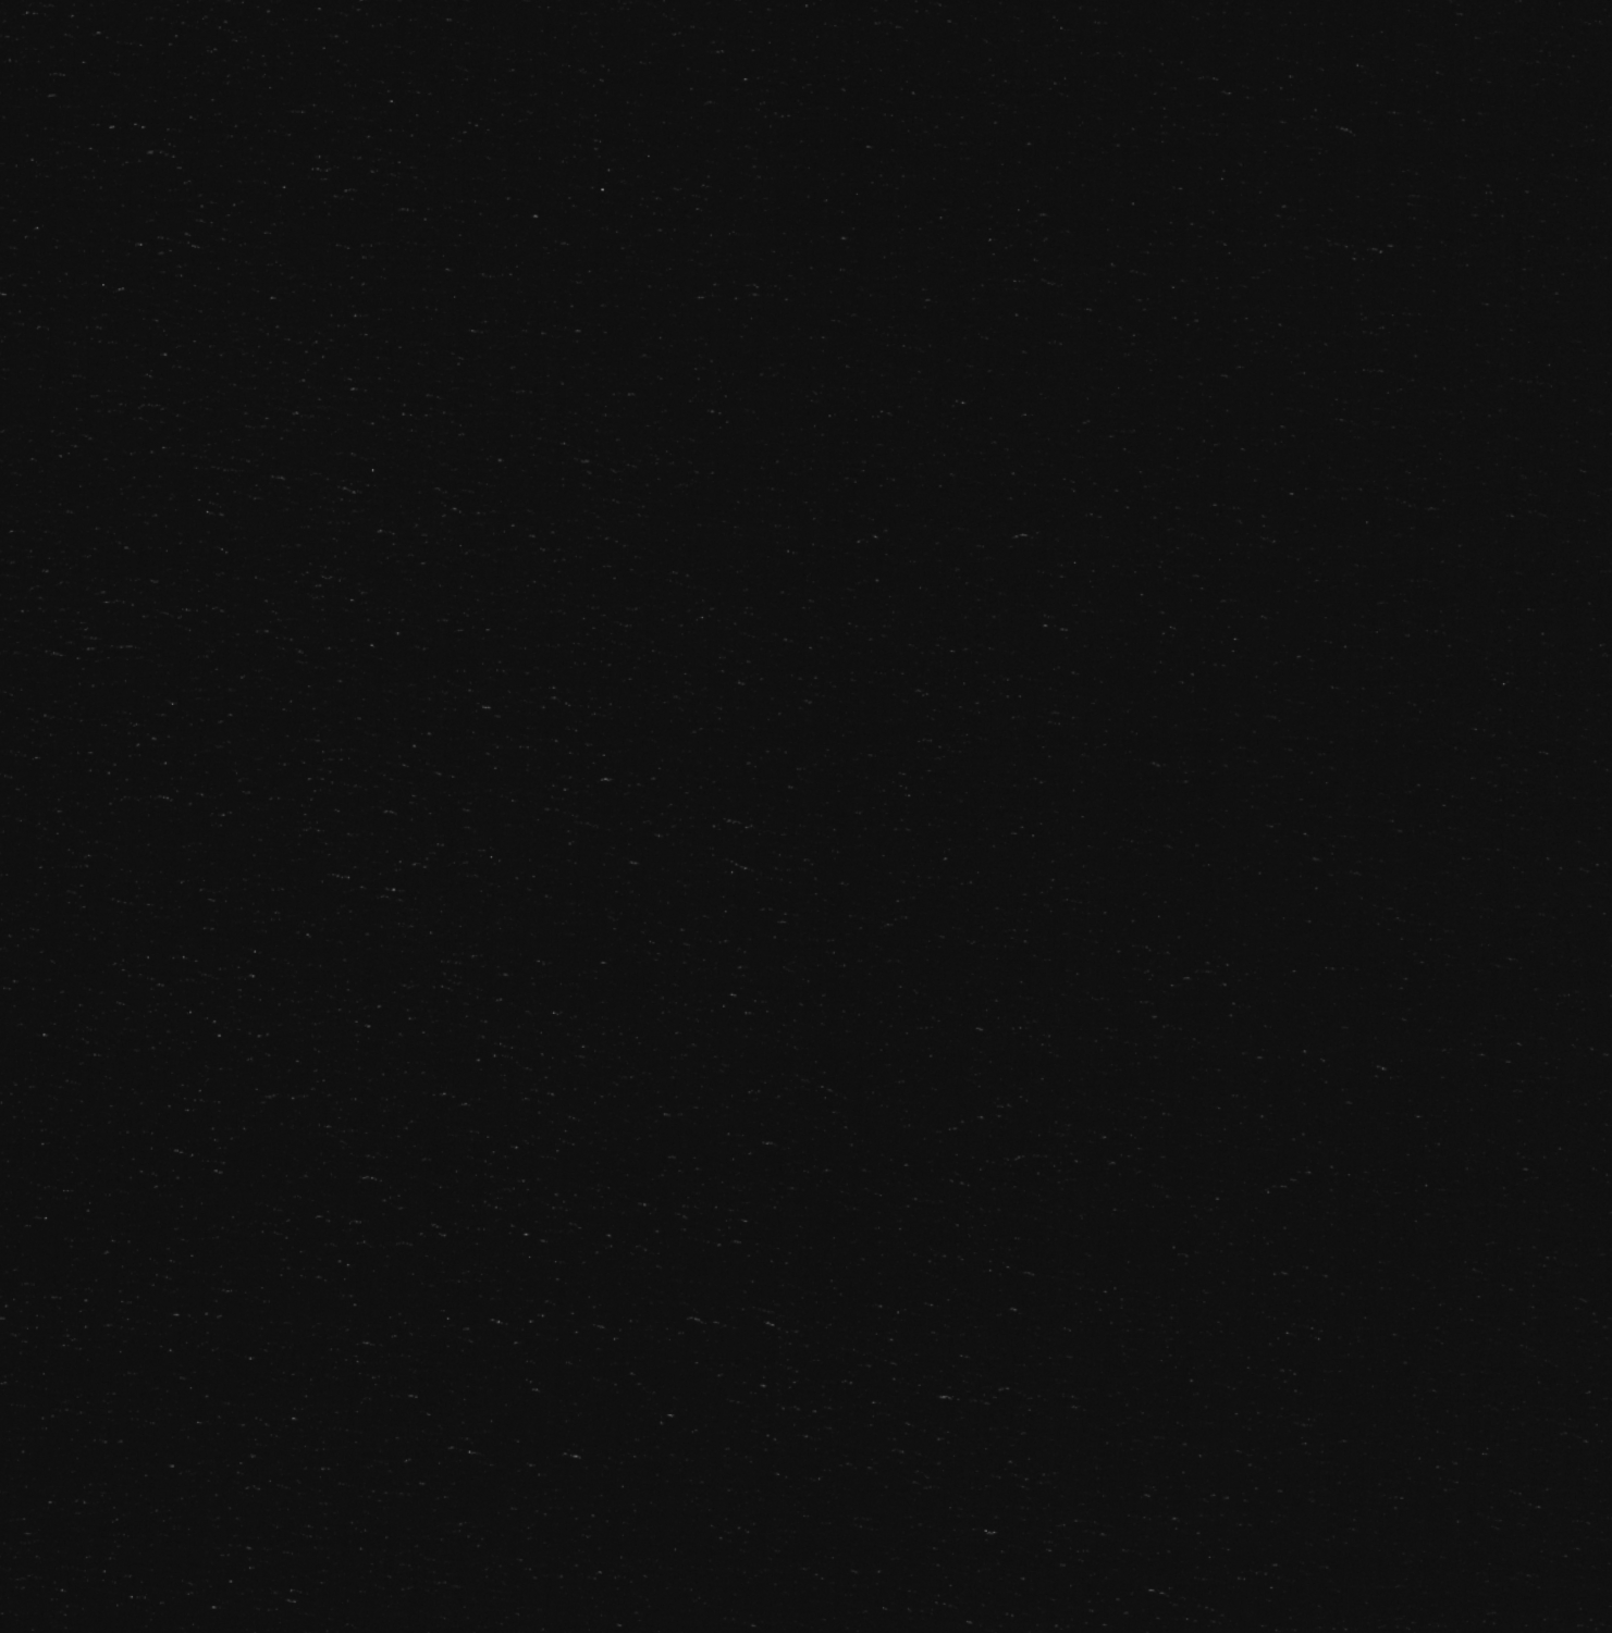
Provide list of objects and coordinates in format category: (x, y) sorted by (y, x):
river: (815, 1218)

